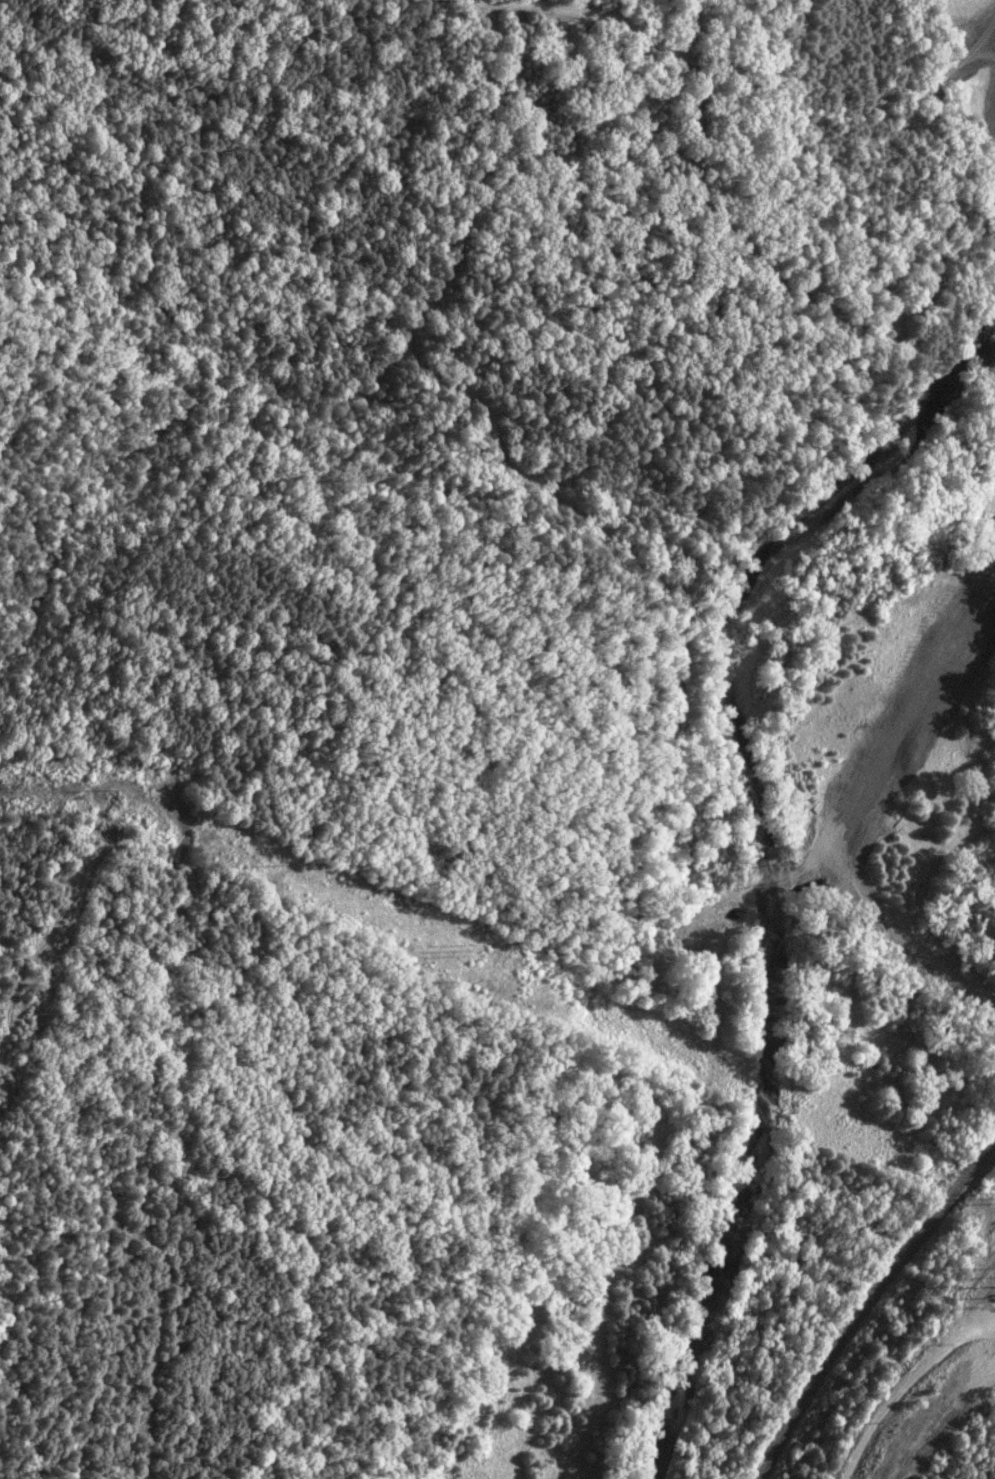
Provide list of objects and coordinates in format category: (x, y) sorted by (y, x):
railway: (868, 1301)

